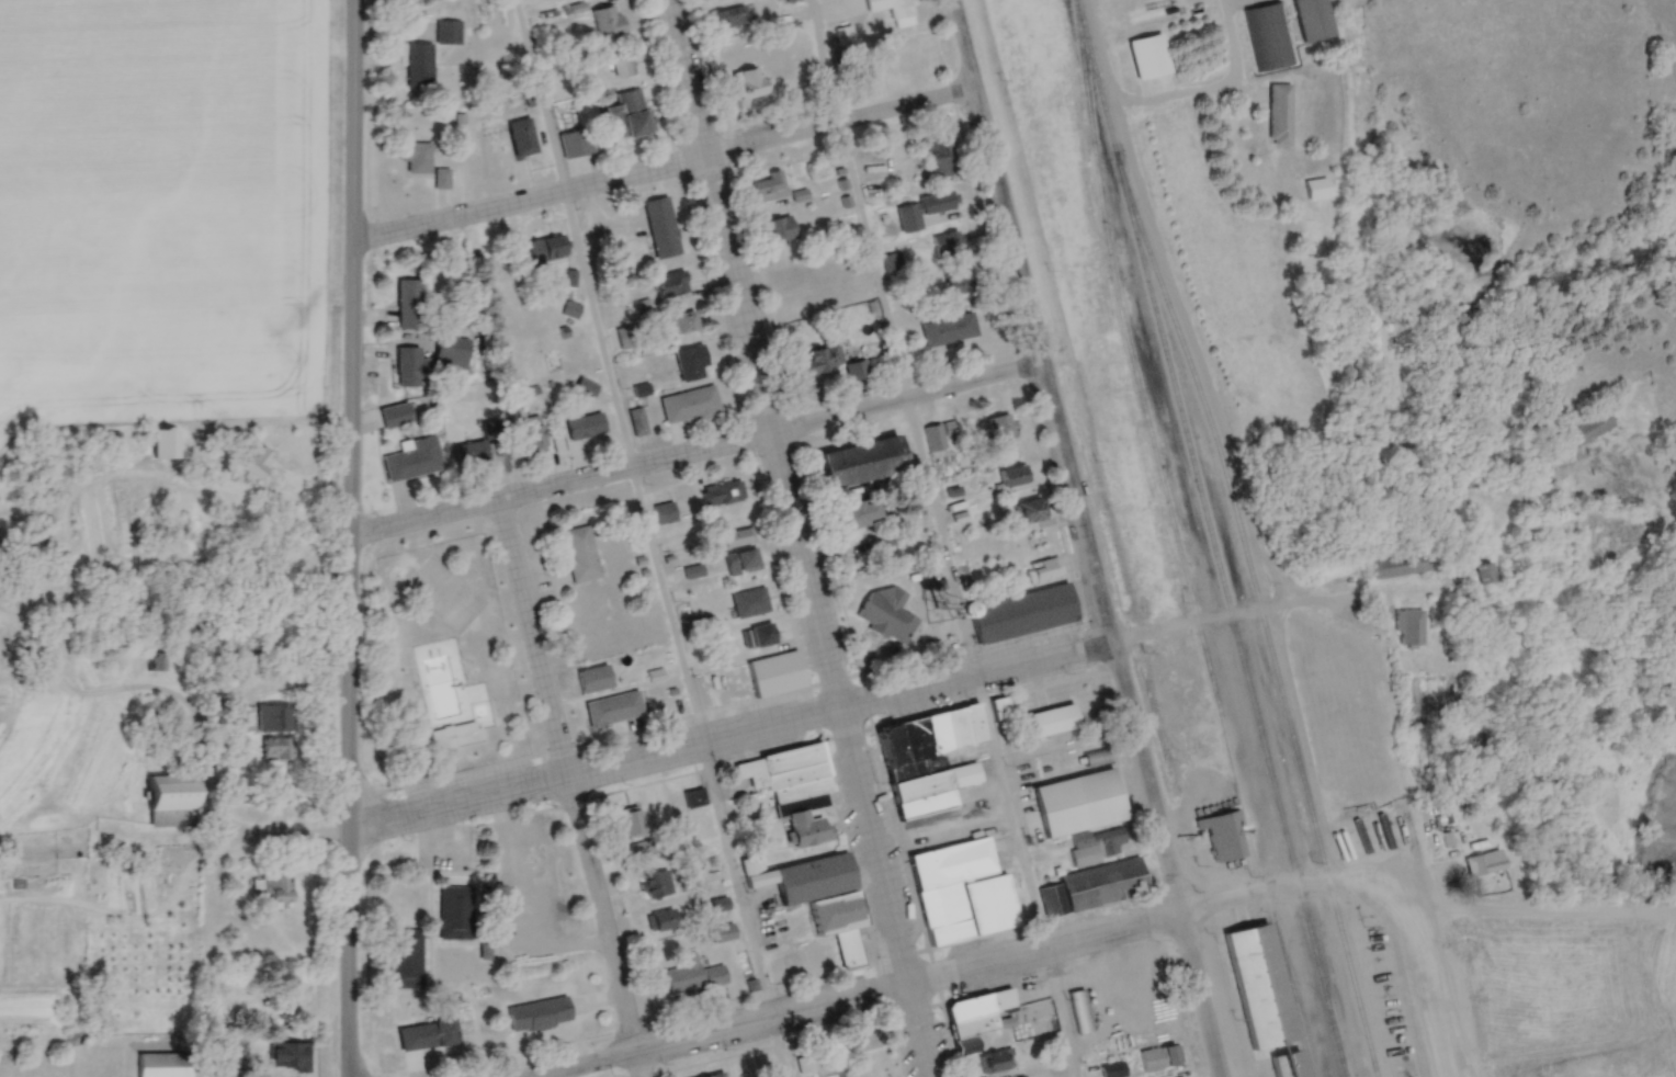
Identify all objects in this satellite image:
building: (893, 10)
building: (731, 16)
building: (1311, 19)
building: (607, 20)
building: (449, 31)
building: (1267, 36)
road: (1103, 44)
road: (1230, 45)
building: (904, 46)
building: (419, 64)
building: (623, 64)
building: (748, 82)
building: (1279, 113)
building: (625, 114)
road: (837, 121)
building: (521, 136)
building: (575, 141)
building: (942, 151)
building: (415, 155)
building: (441, 177)
building: (1315, 186)
building: (769, 188)
road: (525, 201)
building: (936, 202)
building: (907, 217)
building: (658, 227)
building: (780, 227)
building: (546, 247)
building: (801, 269)
building: (670, 283)
building: (961, 283)
building: (410, 303)
building: (797, 306)
building: (570, 309)
building: (684, 321)
building: (949, 329)
building: (626, 337)
building: (825, 356)
building: (692, 363)
building: (407, 365)
building: (586, 387)
building: (641, 389)
road: (906, 401)
building: (689, 404)
building: (396, 413)
building: (637, 420)
building: (585, 426)
building: (1001, 426)
building: (1583, 428)
building: (532, 434)
building: (166, 443)
building: (471, 452)
road: (1065, 457)
building: (412, 458)
building: (257, 460)
building: (856, 466)
building: (1013, 474)
road: (559, 487)
road: (782, 492)
building: (723, 495)
building: (1031, 509)
building: (664, 511)
building: (858, 513)
building: (737, 536)
road: (940, 537)
railway: (1211, 537)
road: (351, 538)
road: (645, 538)
railway: (1176, 542)
building: (580, 553)
building: (740, 560)
building: (1396, 567)
building: (1042, 569)
building: (1484, 575)
building: (749, 602)
building: (1021, 613)
building: (887, 614)
railway: (1262, 622)
building: (1407, 630)
building: (758, 635)
road: (1101, 639)
building: (156, 660)
building: (774, 672)
building: (593, 678)
road: (93, 698)
building: (613, 707)
building: (465, 717)
building: (1052, 719)
building: (278, 747)
building: (929, 758)
road: (593, 766)
road: (208, 769)
road: (566, 778)
building: (793, 787)
building: (694, 797)
building: (169, 800)
building: (1074, 802)
building: (622, 813)
building: (1218, 835)
building: (1097, 844)
building: (1483, 864)
road: (512, 874)
building: (801, 875)
building: (656, 883)
building: (948, 885)
building: (273, 886)
building: (1094, 886)
road: (1287, 889)
building: (989, 903)
building: (720, 906)
building: (454, 911)
building: (663, 919)
building: (839, 923)
building: (723, 932)
building: (404, 957)
building: (1505, 967)
building: (693, 975)
building: (1252, 989)
road: (1198, 996)
building: (1079, 1010)
building: (537, 1012)
building: (978, 1012)
building: (1040, 1012)
road: (917, 1031)
road: (715, 1032)
building: (427, 1034)
building: (867, 1038)
building: (966, 1047)
building: (290, 1055)
building: (1159, 1056)
building: (997, 1059)
building: (165, 1064)
road: (636, 1065)
building: (1281, 1066)
building: (1112, 1069)
building: (716, 1075)

